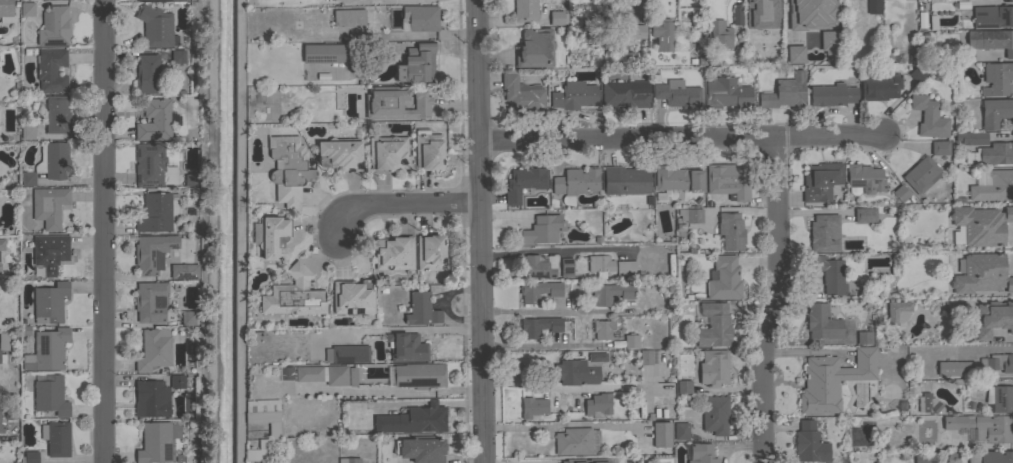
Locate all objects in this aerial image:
building: (152, 0)
building: (873, 6)
building: (830, 7)
building: (27, 8)
road: (638, 9)
building: (525, 10)
building: (6, 11)
building: (736, 13)
building: (761, 13)
building: (805, 14)
building: (993, 16)
building: (348, 17)
building: (421, 17)
building: (557, 17)
building: (54, 26)
building: (155, 26)
building: (615, 34)
building: (720, 34)
building: (663, 35)
building: (991, 40)
building: (825, 41)
building: (535, 48)
building: (791, 51)
building: (323, 52)
building: (177, 56)
building: (633, 59)
building: (415, 63)
building: (51, 70)
building: (917, 73)
building: (149, 74)
building: (996, 78)
building: (880, 87)
building: (785, 91)
building: (726, 92)
building: (521, 93)
building: (676, 93)
building: (832, 94)
building: (573, 95)
building: (623, 95)
building: (396, 103)
building: (995, 111)
building: (57, 114)
building: (929, 116)
building: (155, 120)
building: (27, 131)
building: (971, 137)
road: (682, 139)
building: (940, 147)
building: (427, 150)
building: (388, 152)
building: (340, 153)
building: (997, 153)
building: (50, 163)
building: (150, 164)
building: (288, 168)
building: (921, 174)
building: (677, 178)
building: (191, 179)
building: (626, 179)
building: (729, 179)
building: (863, 179)
building: (820, 181)
building: (524, 182)
building: (575, 182)
building: (994, 186)
building: (901, 193)
road: (399, 204)
building: (49, 206)
building: (155, 212)
building: (865, 214)
building: (690, 215)
building: (981, 224)
building: (542, 229)
building: (731, 230)
road: (100, 231)
road: (202, 231)
road: (481, 231)
building: (824, 232)
building: (273, 237)
building: (2, 244)
road: (546, 249)
building: (50, 252)
building: (152, 252)
building: (394, 252)
building: (430, 252)
building: (599, 265)
building: (0, 266)
building: (537, 266)
building: (566, 266)
building: (625, 266)
building: (184, 271)
building: (830, 274)
building: (982, 274)
building: (724, 278)
building: (538, 290)
building: (610, 292)
building: (294, 295)
building: (353, 297)
building: (150, 301)
road: (774, 301)
building: (50, 303)
building: (421, 309)
building: (897, 311)
building: (993, 317)
building: (188, 318)
building: (821, 322)
building: (712, 324)
building: (539, 326)
building: (602, 328)
road: (408, 330)
building: (864, 336)
building: (631, 340)
building: (4, 341)
road: (549, 346)
building: (406, 347)
building: (47, 349)
building: (154, 349)
building: (347, 353)
building: (645, 356)
building: (3, 358)
building: (997, 362)
building: (714, 367)
building: (955, 368)
building: (579, 369)
building: (285, 374)
building: (321, 375)
building: (419, 375)
building: (351, 377)
building: (832, 379)
building: (177, 381)
road: (537, 386)
building: (684, 386)
building: (50, 394)
building: (151, 397)
building: (999, 398)
building: (598, 403)
building: (533, 406)
building: (933, 406)
building: (11, 413)
building: (715, 414)
building: (259, 416)
building: (412, 419)
building: (983, 426)
building: (1, 428)
building: (274, 430)
building: (681, 430)
building: (661, 434)
building: (235, 435)
building: (56, 437)
building: (156, 441)
building: (576, 441)
building: (809, 443)
building: (421, 449)
building: (701, 453)
building: (990, 456)
building: (29, 457)
building: (924, 457)
building: (953, 457)
building: (349, 460)
building: (536, 460)
building: (561, 461)

